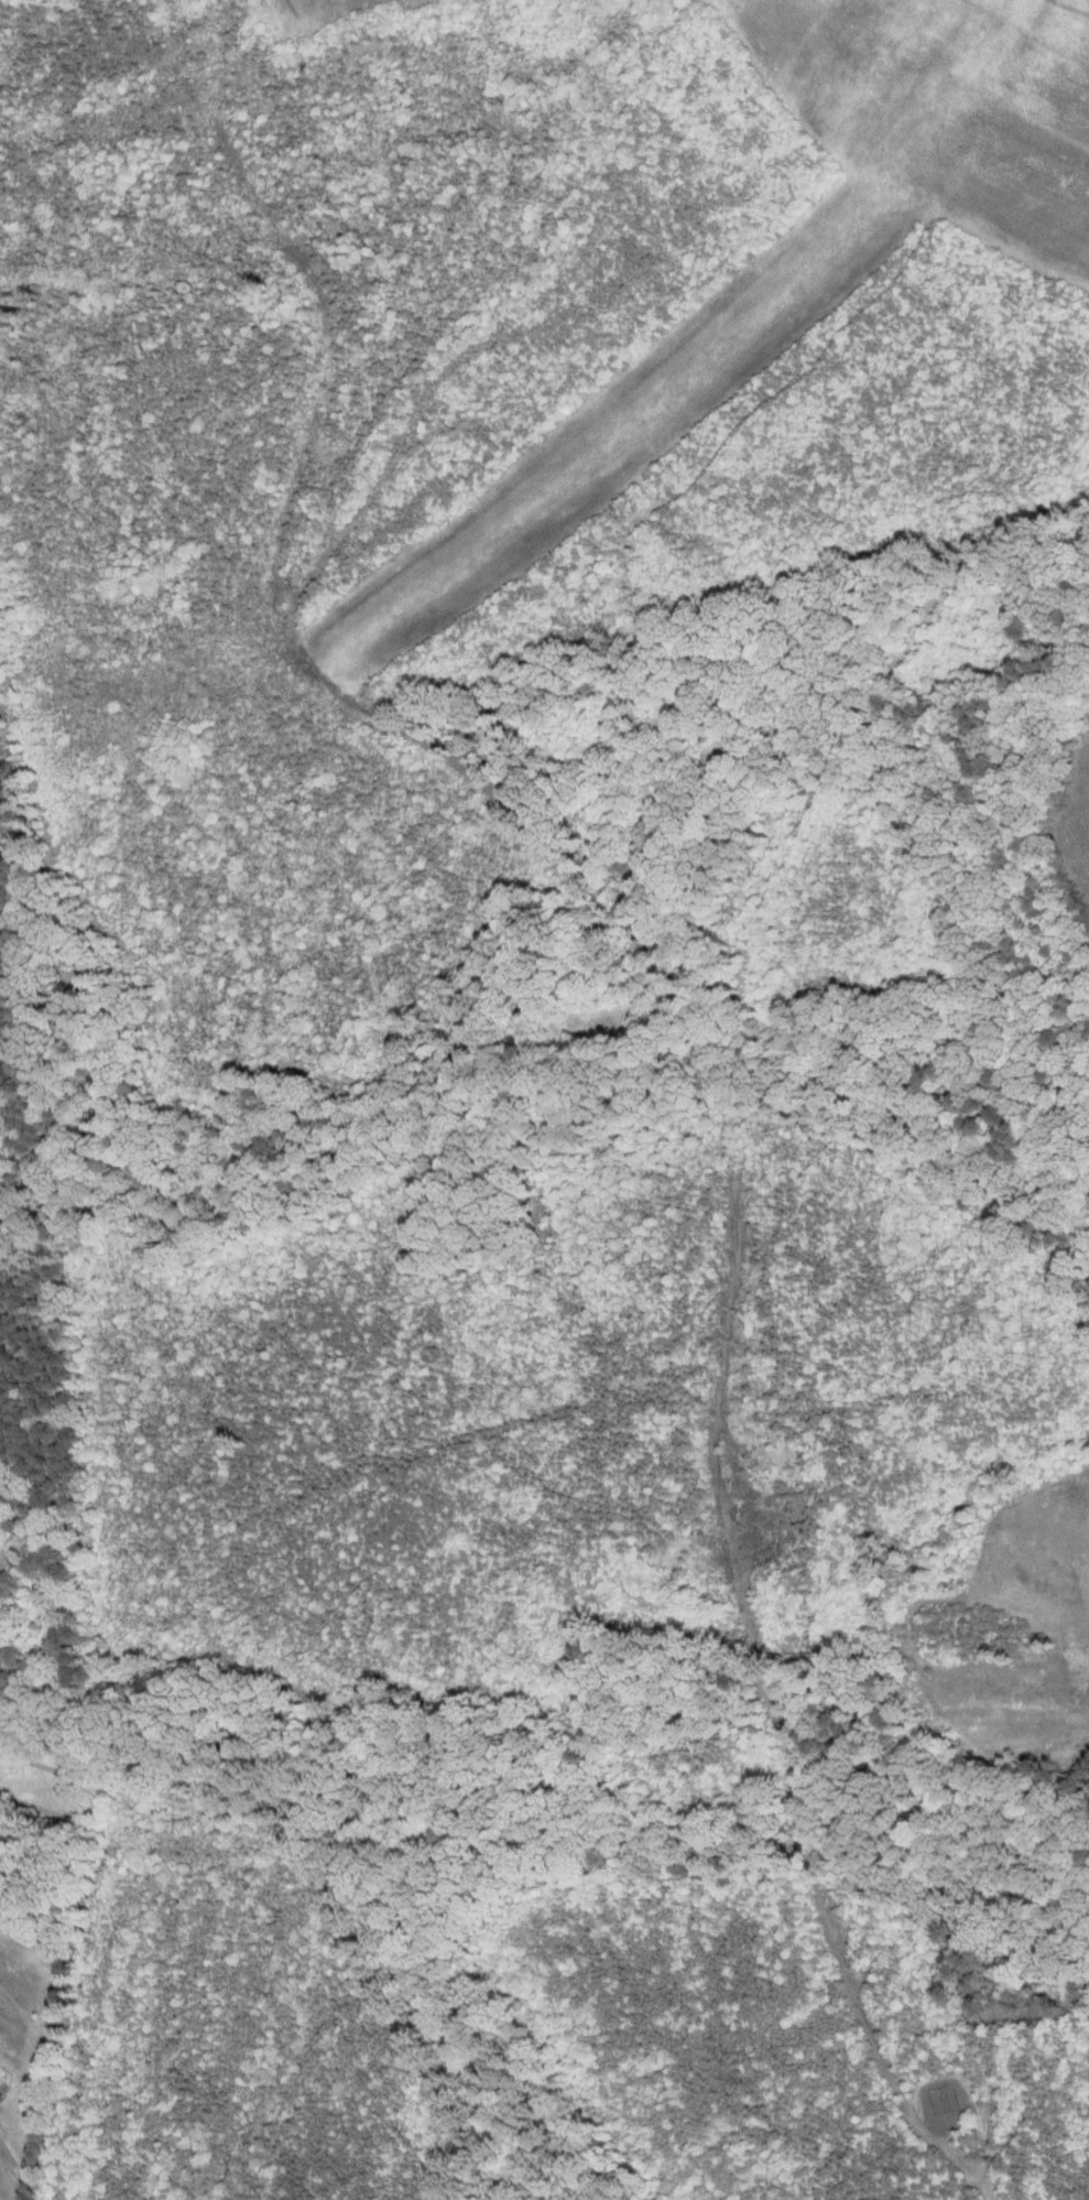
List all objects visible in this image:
road: (15, 2170)

